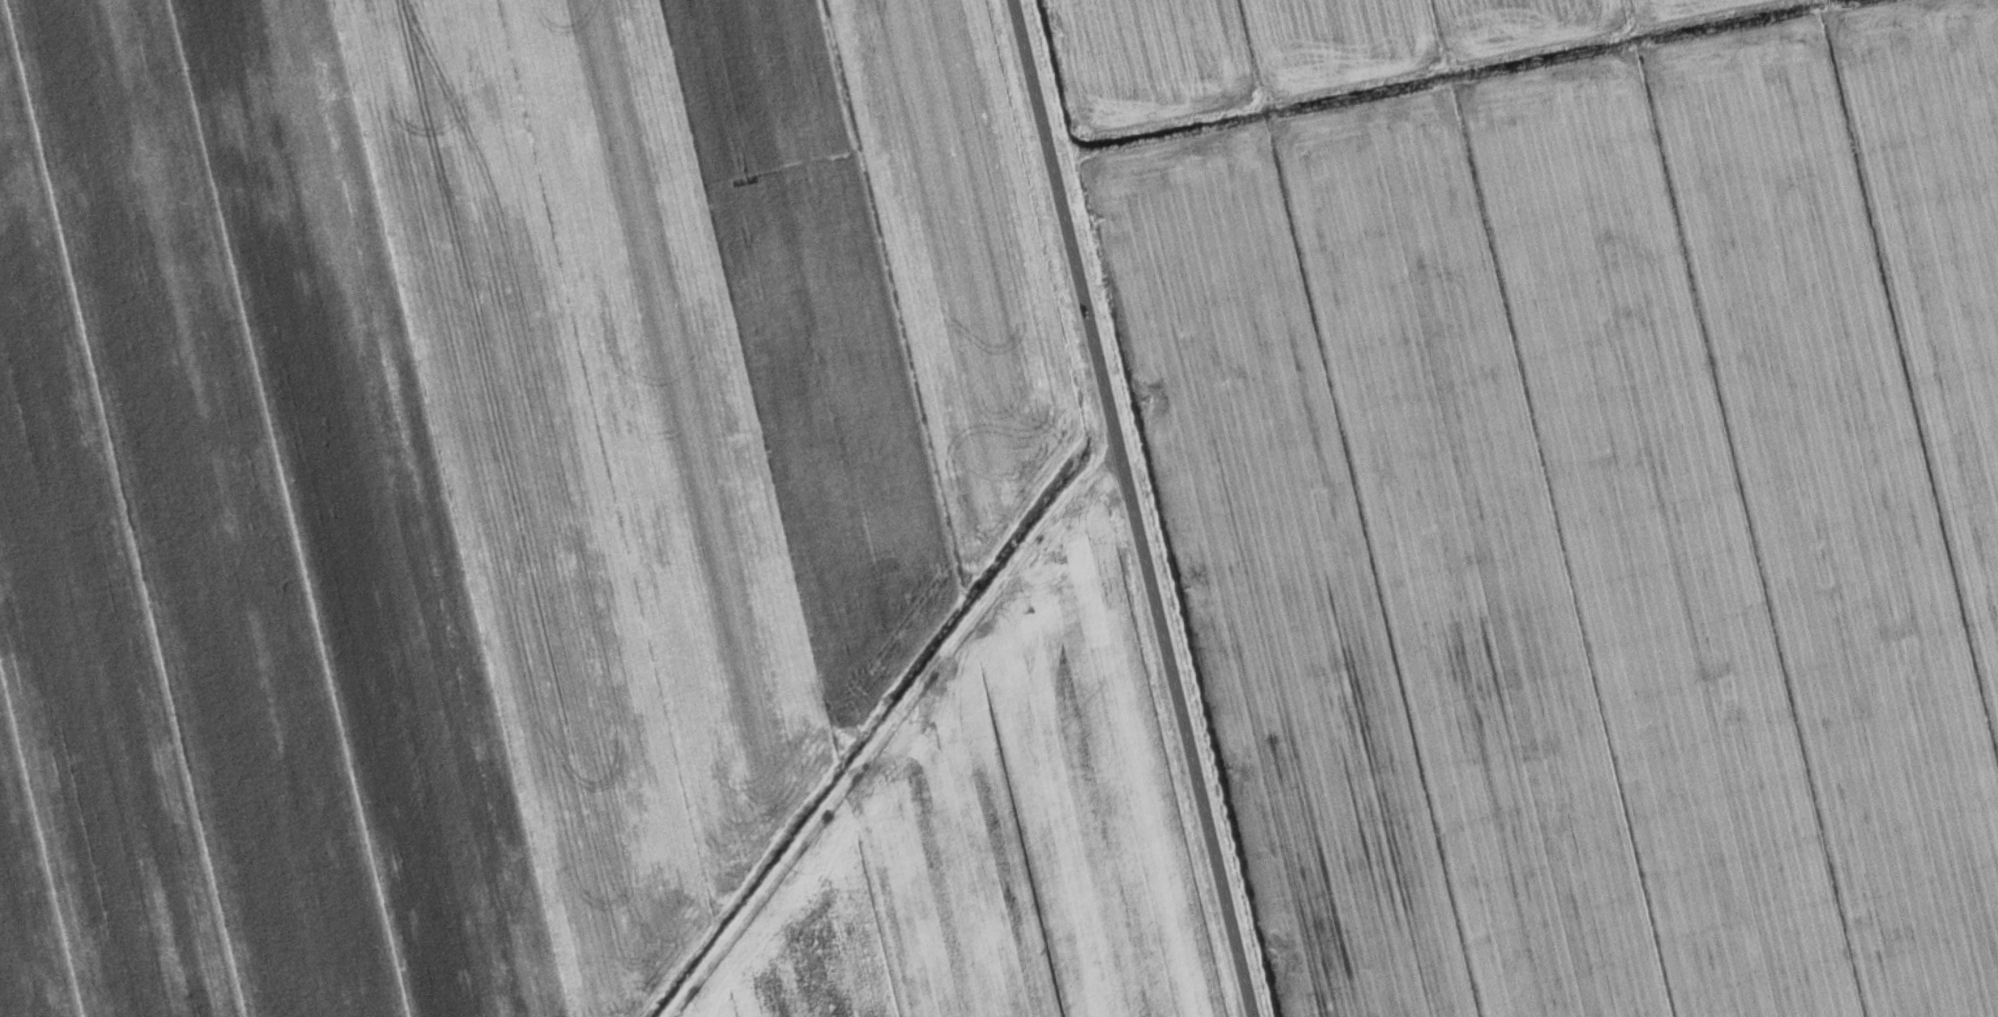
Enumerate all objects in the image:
crop: (1299, 45)
crop: (477, 474)
road: (1129, 508)
crop: (1599, 523)
road: (888, 731)
crop: (1000, 836)

